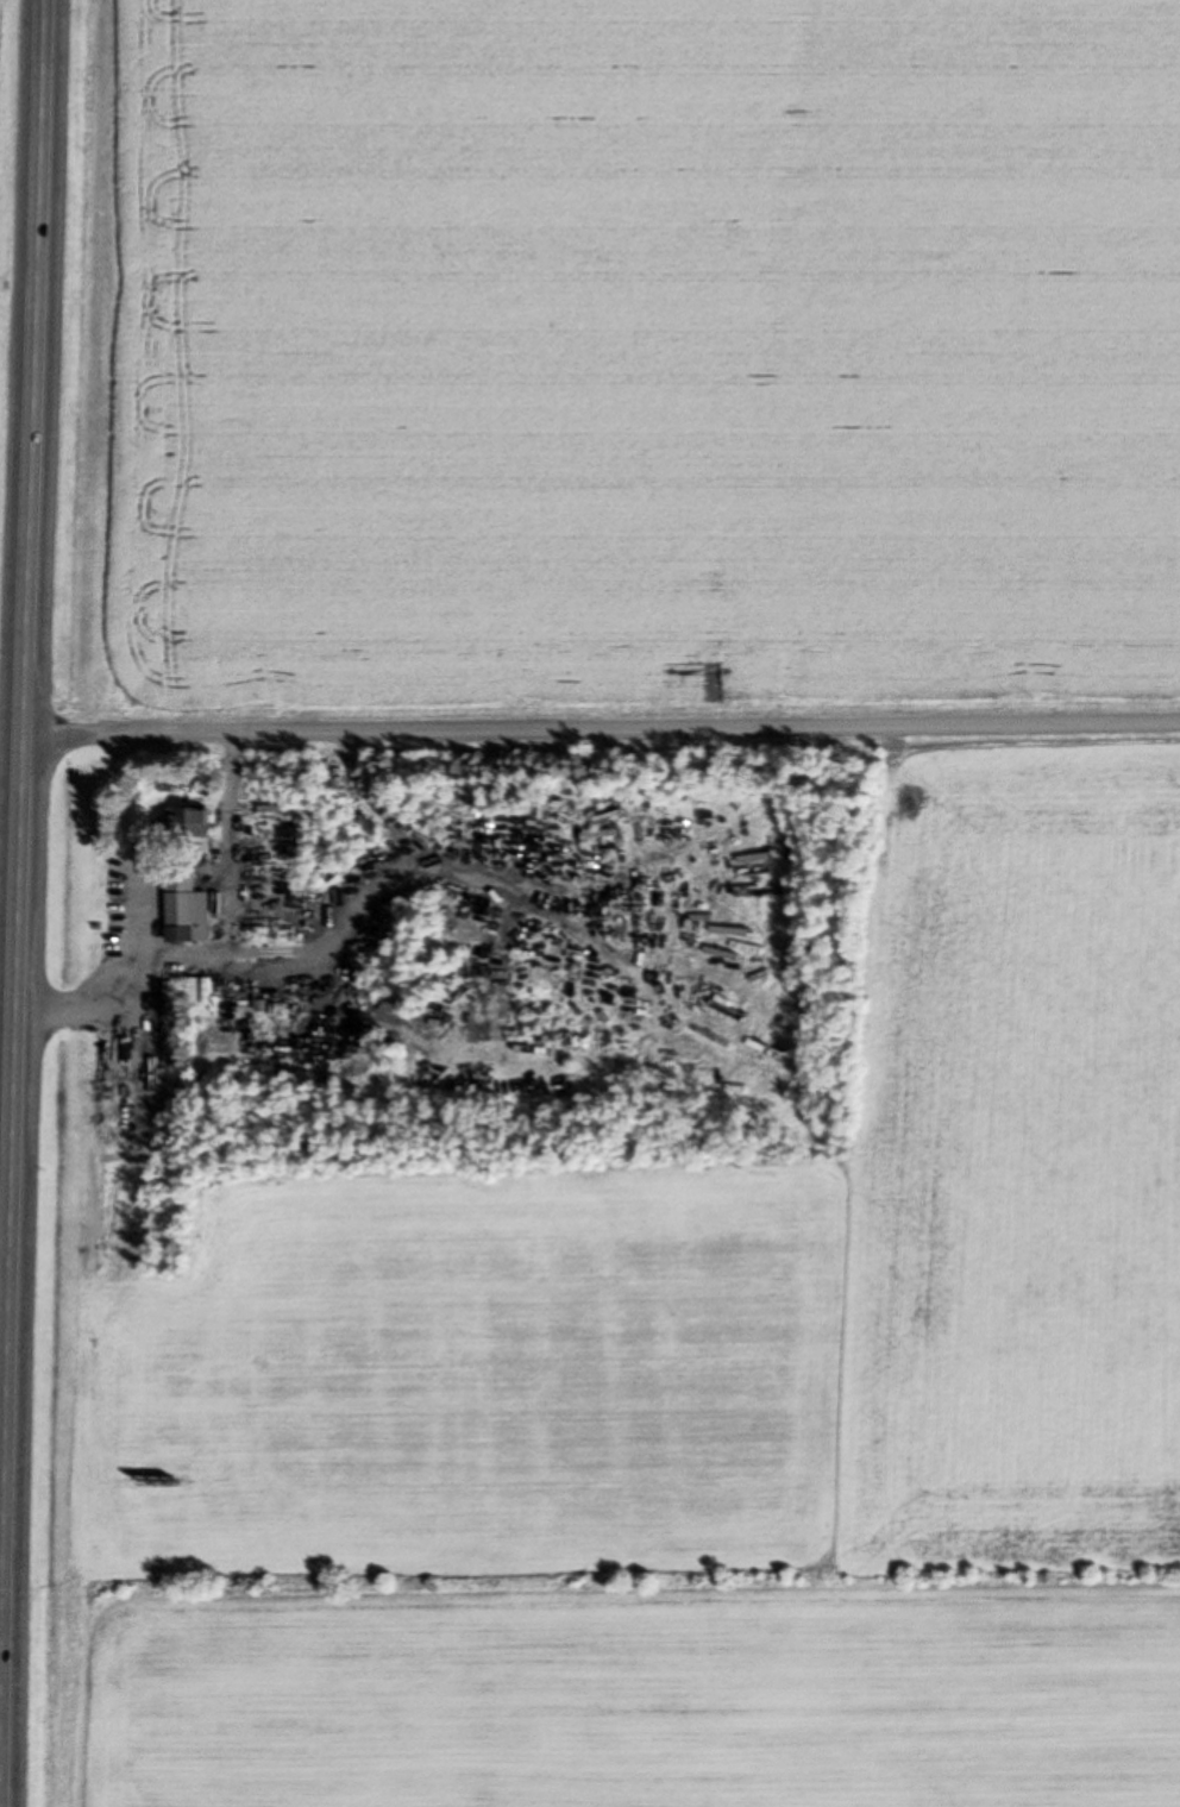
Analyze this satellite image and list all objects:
road: (605, 730)
building: (195, 820)
building: (607, 821)
road: (26, 903)
building: (192, 912)

